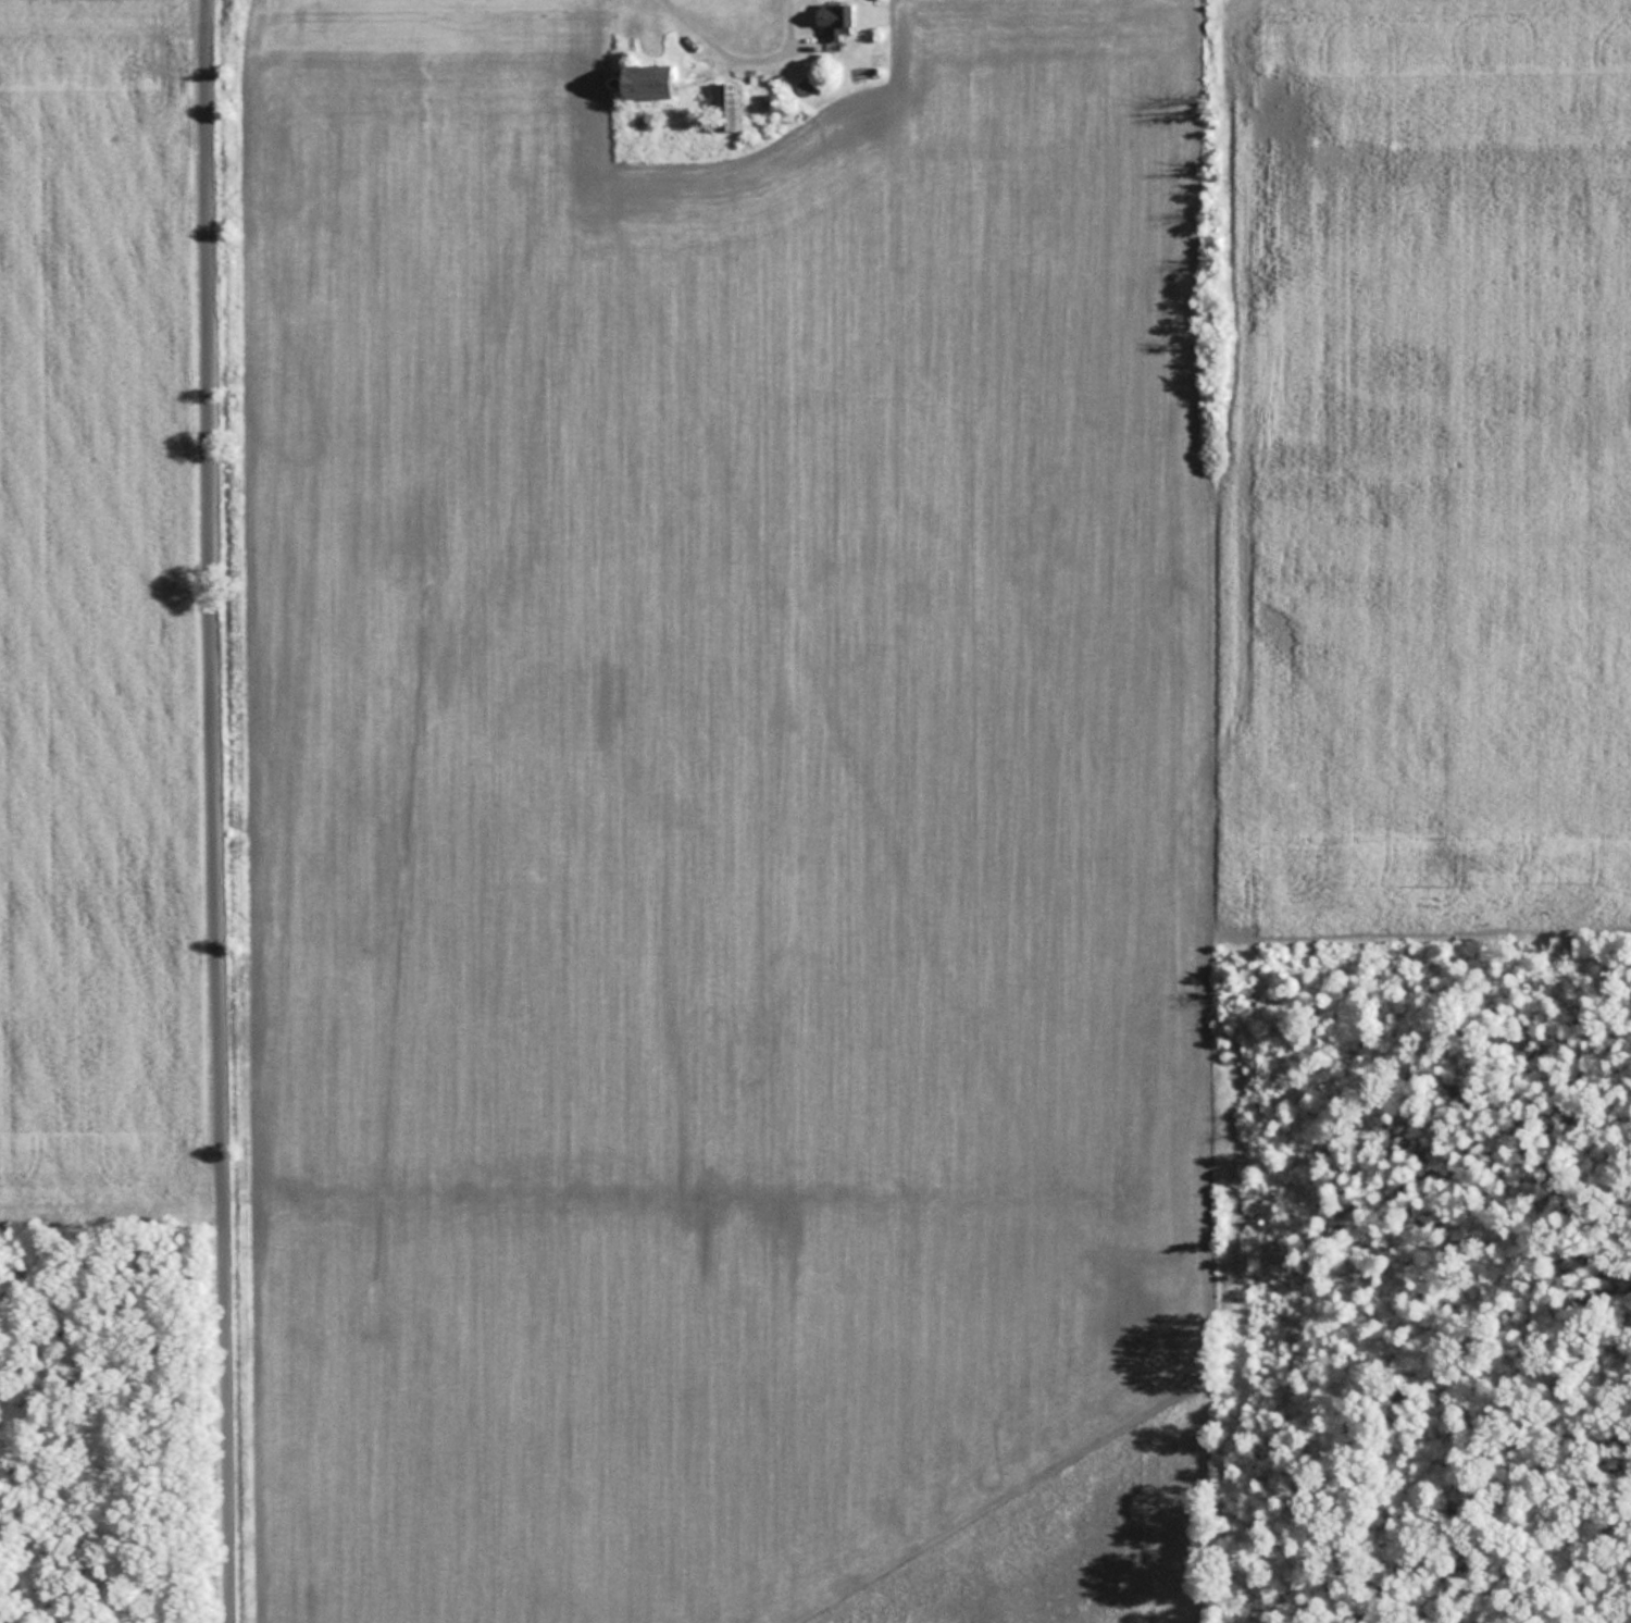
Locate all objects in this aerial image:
building: (836, 17)
building: (648, 84)
building: (729, 106)
road: (219, 811)

